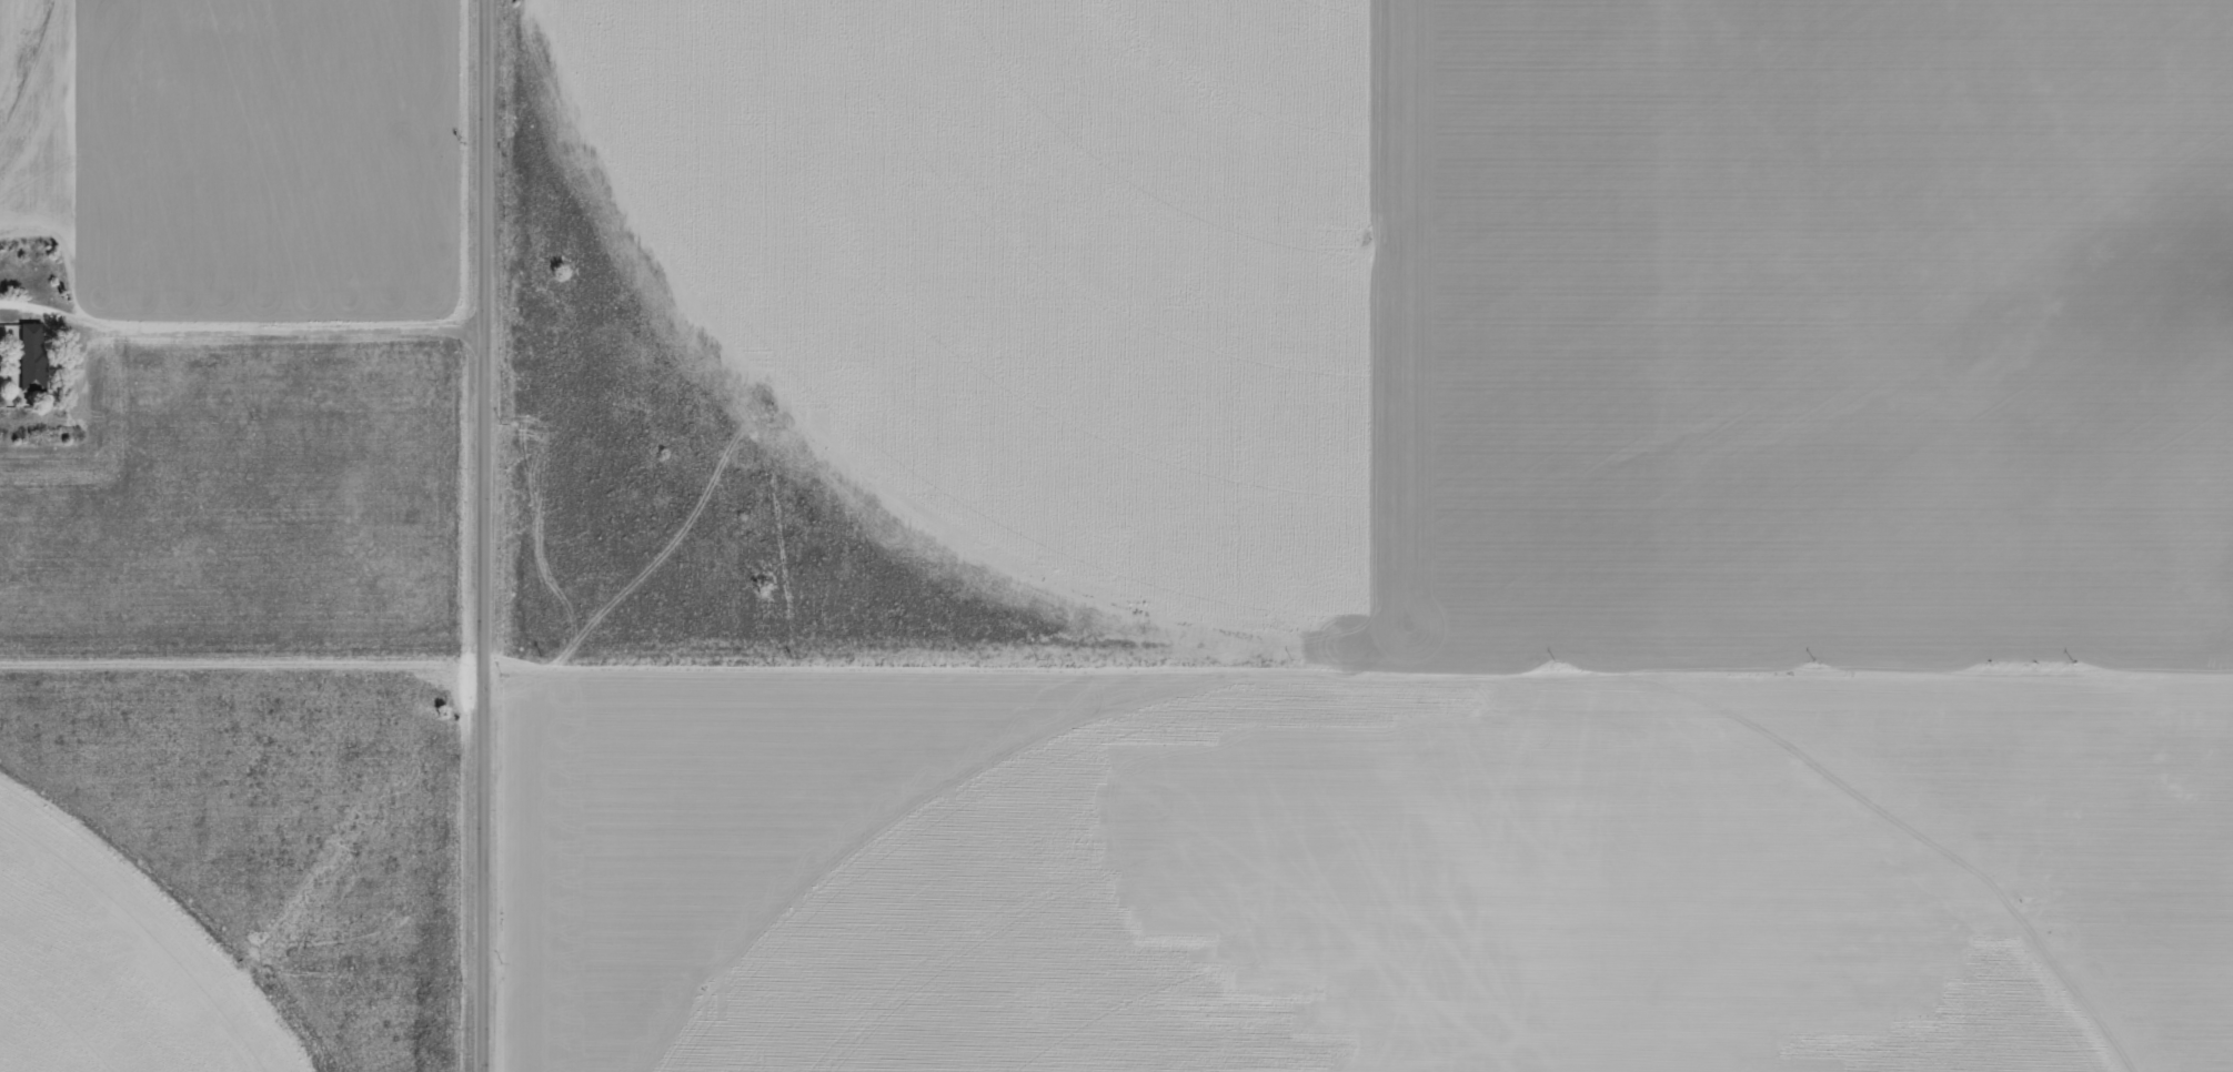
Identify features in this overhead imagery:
road: (289, 335)
road: (480, 535)

